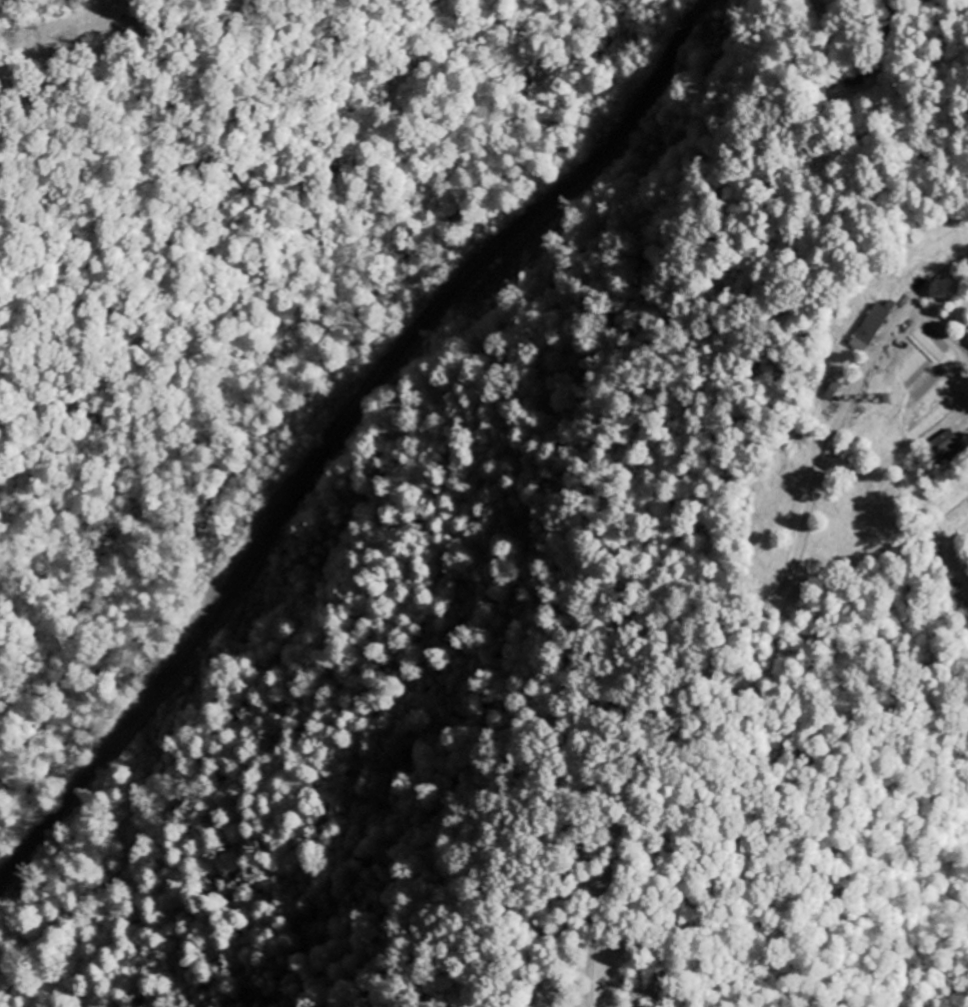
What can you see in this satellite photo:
road: (118, 37)
building: (871, 329)
building: (967, 335)
building: (834, 391)
building: (947, 447)
road: (375, 492)

